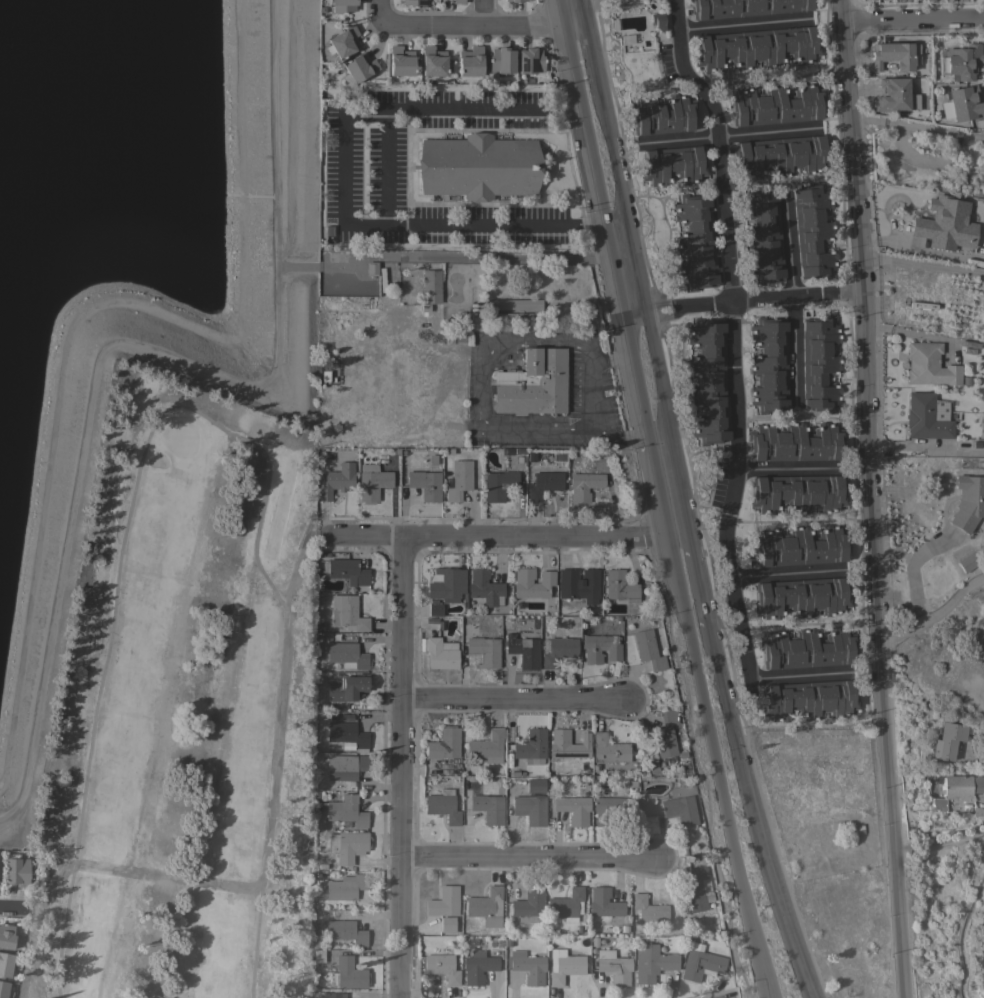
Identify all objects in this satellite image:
building: (515, 0)
building: (458, 1)
building: (414, 3)
building: (343, 6)
building: (745, 7)
road: (484, 12)
road: (583, 13)
road: (911, 18)
building: (658, 21)
road: (472, 24)
road: (746, 28)
building: (344, 42)
building: (756, 47)
building: (892, 55)
road: (593, 58)
building: (501, 60)
building: (530, 60)
building: (400, 61)
building: (432, 61)
building: (470, 61)
building: (960, 61)
building: (359, 66)
building: (892, 95)
building: (912, 101)
building: (961, 104)
building: (776, 105)
road: (469, 108)
building: (662, 115)
road: (729, 135)
building: (780, 156)
road: (344, 165)
building: (673, 165)
building: (478, 166)
road: (386, 168)
road: (623, 200)
building: (944, 224)
road: (487, 226)
building: (813, 231)
building: (763, 236)
building: (695, 242)
road: (496, 254)
road: (921, 262)
road: (614, 267)
building: (371, 268)
building: (430, 288)
road: (793, 297)
road: (772, 299)
road: (664, 302)
building: (537, 311)
building: (454, 312)
road: (635, 313)
road: (664, 314)
road: (735, 334)
road: (915, 334)
building: (969, 344)
road: (619, 355)
building: (820, 363)
building: (769, 364)
building: (930, 365)
building: (708, 381)
building: (533, 383)
road: (483, 391)
road: (587, 392)
road: (197, 410)
building: (925, 418)
road: (788, 419)
road: (666, 422)
road: (635, 433)
building: (795, 442)
building: (971, 443)
road: (927, 447)
building: (404, 455)
building: (433, 459)
road: (787, 471)
building: (459, 480)
building: (336, 481)
building: (372, 482)
building: (544, 484)
building: (426, 485)
building: (499, 485)
building: (584, 485)
building: (798, 493)
road: (871, 498)
building: (968, 502)
road: (507, 535)
building: (800, 546)
building: (965, 562)
road: (911, 569)
building: (348, 572)
road: (787, 574)
building: (532, 583)
building: (445, 584)
road: (698, 584)
building: (581, 585)
building: (619, 586)
building: (484, 588)
building: (801, 597)
building: (435, 609)
building: (347, 613)
road: (934, 615)
road: (797, 625)
building: (601, 648)
building: (648, 649)
building: (807, 649)
building: (557, 650)
building: (484, 651)
building: (523, 651)
building: (441, 654)
building: (347, 655)
road: (803, 675)
building: (347, 687)
building: (810, 699)
road: (509, 700)
park: (189, 706)
building: (347, 734)
building: (666, 734)
building: (945, 740)
building: (445, 744)
building: (569, 744)
building: (532, 746)
building: (487, 747)
building: (609, 749)
building: (345, 766)
road: (398, 766)
building: (652, 766)
road: (718, 766)
building: (536, 785)
building: (956, 788)
building: (443, 806)
building: (489, 808)
building: (531, 809)
building: (574, 809)
building: (614, 809)
building: (346, 811)
building: (681, 811)
building: (978, 813)
road: (759, 816)
building: (857, 829)
building: (349, 845)
road: (937, 845)
road: (529, 859)
building: (16, 870)
building: (345, 887)
building: (698, 889)
building: (443, 901)
building: (485, 903)
building: (605, 904)
road: (12, 905)
building: (529, 905)
building: (566, 905)
building: (649, 910)
building: (447, 924)
building: (983, 930)
building: (346, 931)
building: (6, 936)
building: (318, 955)
building: (652, 963)
building: (5, 964)
building: (701, 964)
building: (477, 966)
building: (564, 966)
building: (614, 966)
building: (442, 967)
building: (528, 967)
building: (348, 973)
building: (4, 990)
road: (813, 997)

